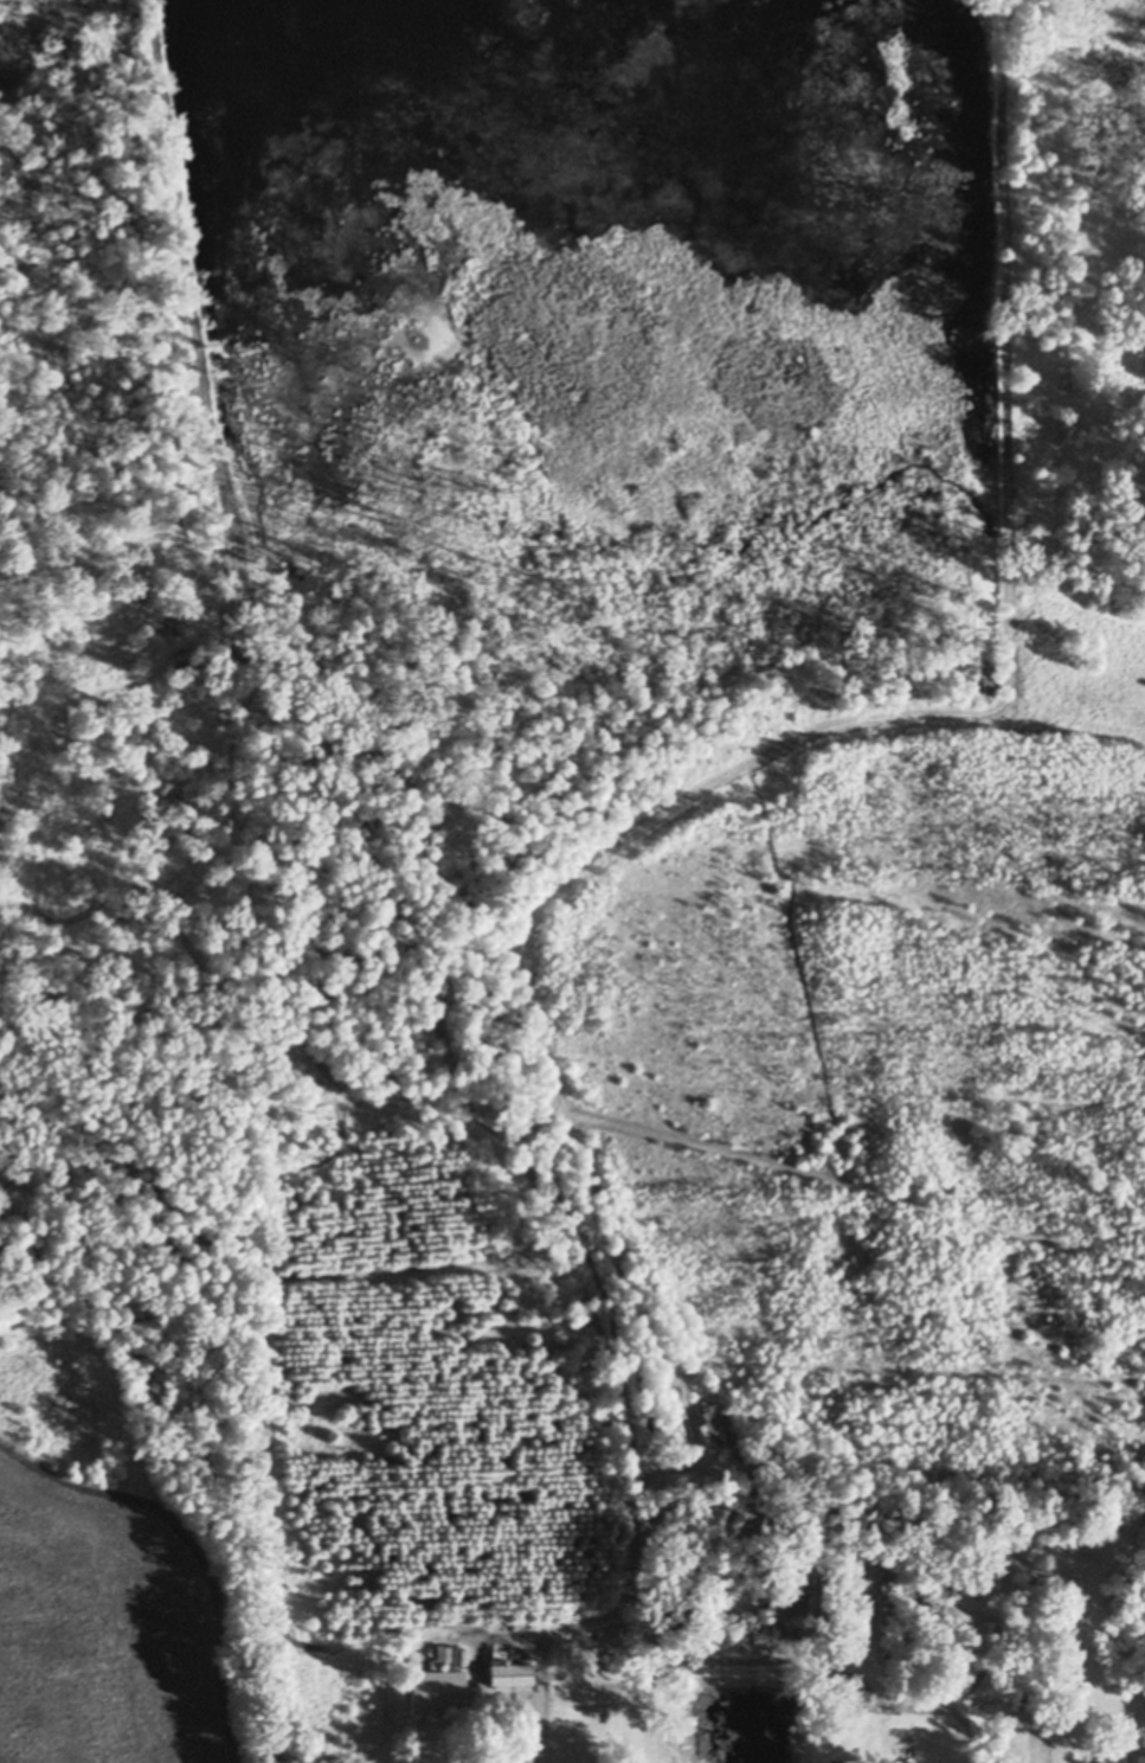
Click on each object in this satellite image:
building: (702, 1432)
building: (887, 1596)
building: (497, 1647)
building: (560, 1647)
building: (840, 1658)
building: (509, 1666)
building: (437, 1686)
building: (849, 1686)
road: (539, 1727)
building: (905, 1759)

